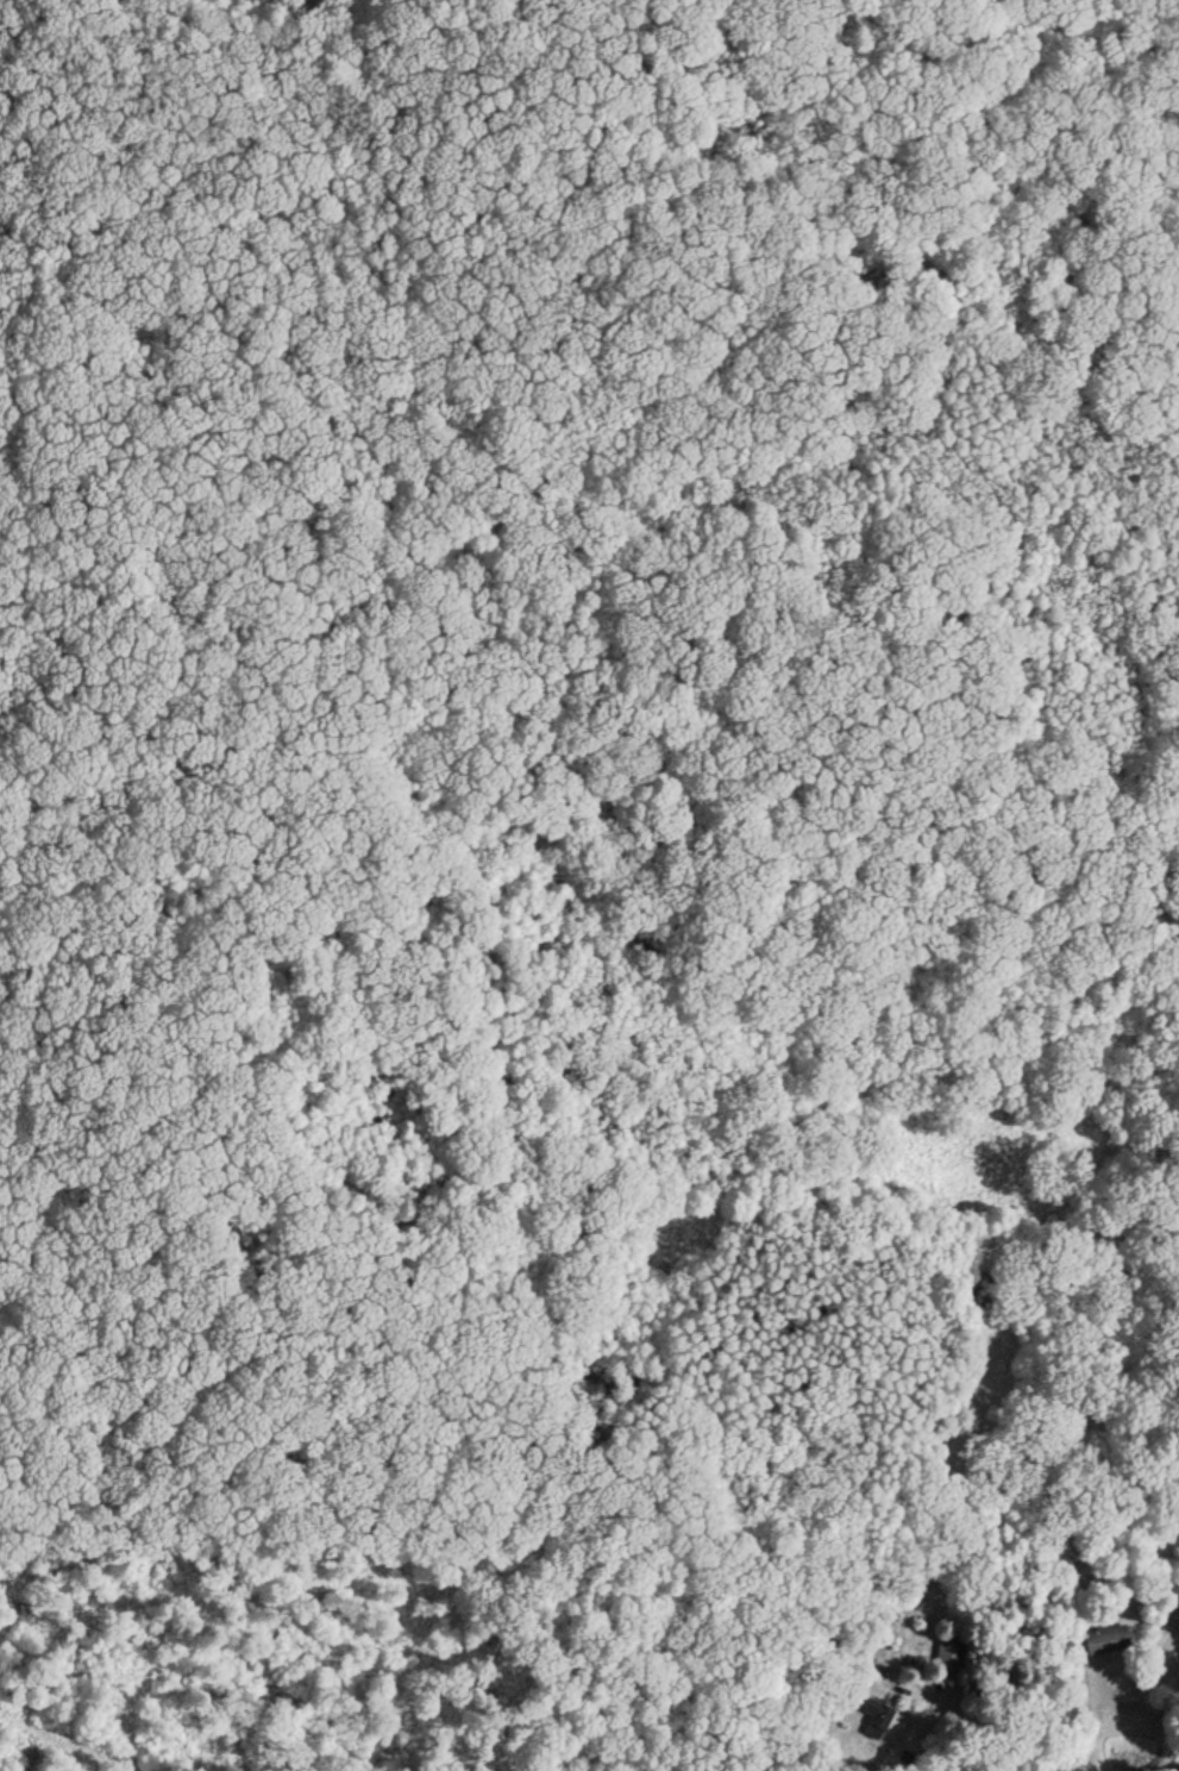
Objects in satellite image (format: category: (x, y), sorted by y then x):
building: (1105, 1638)
building: (949, 1652)
building: (876, 1717)

